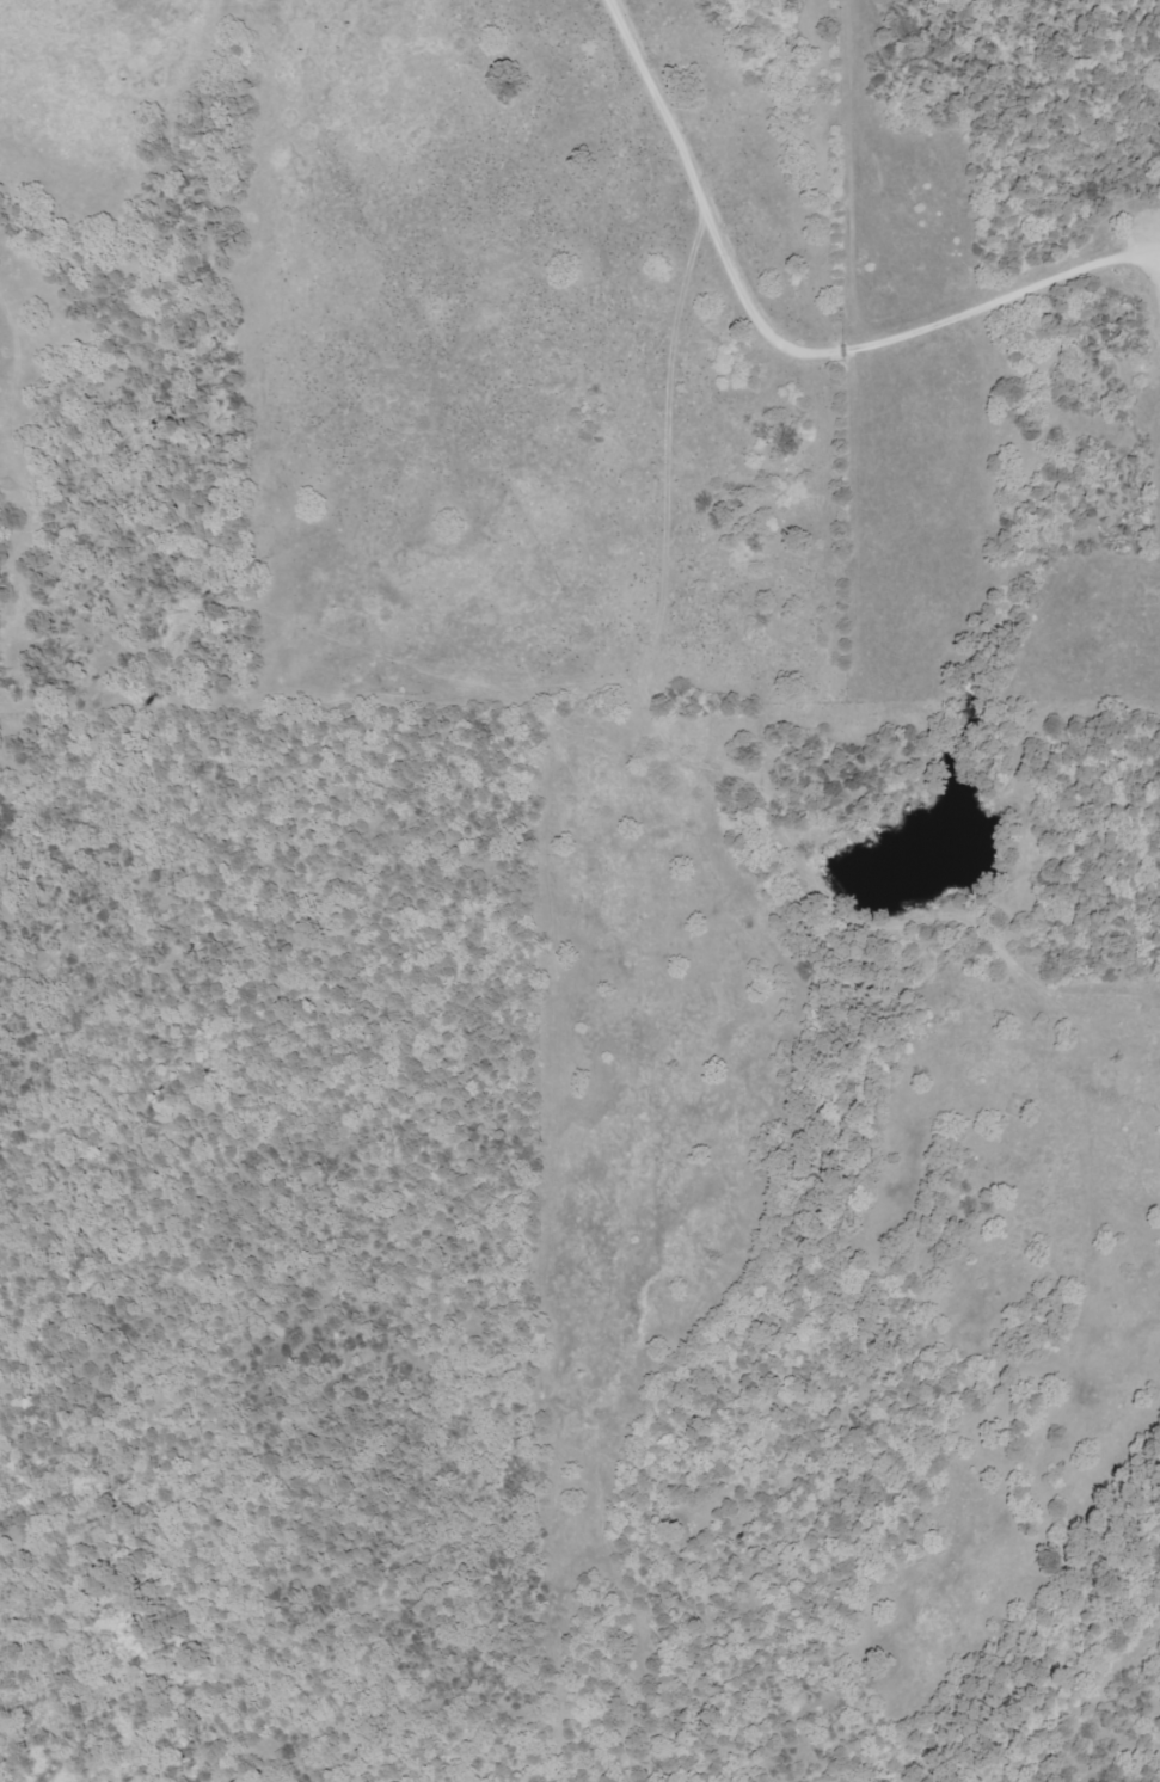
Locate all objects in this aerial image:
road: (1070, 99)
road: (792, 332)
road: (864, 1034)

